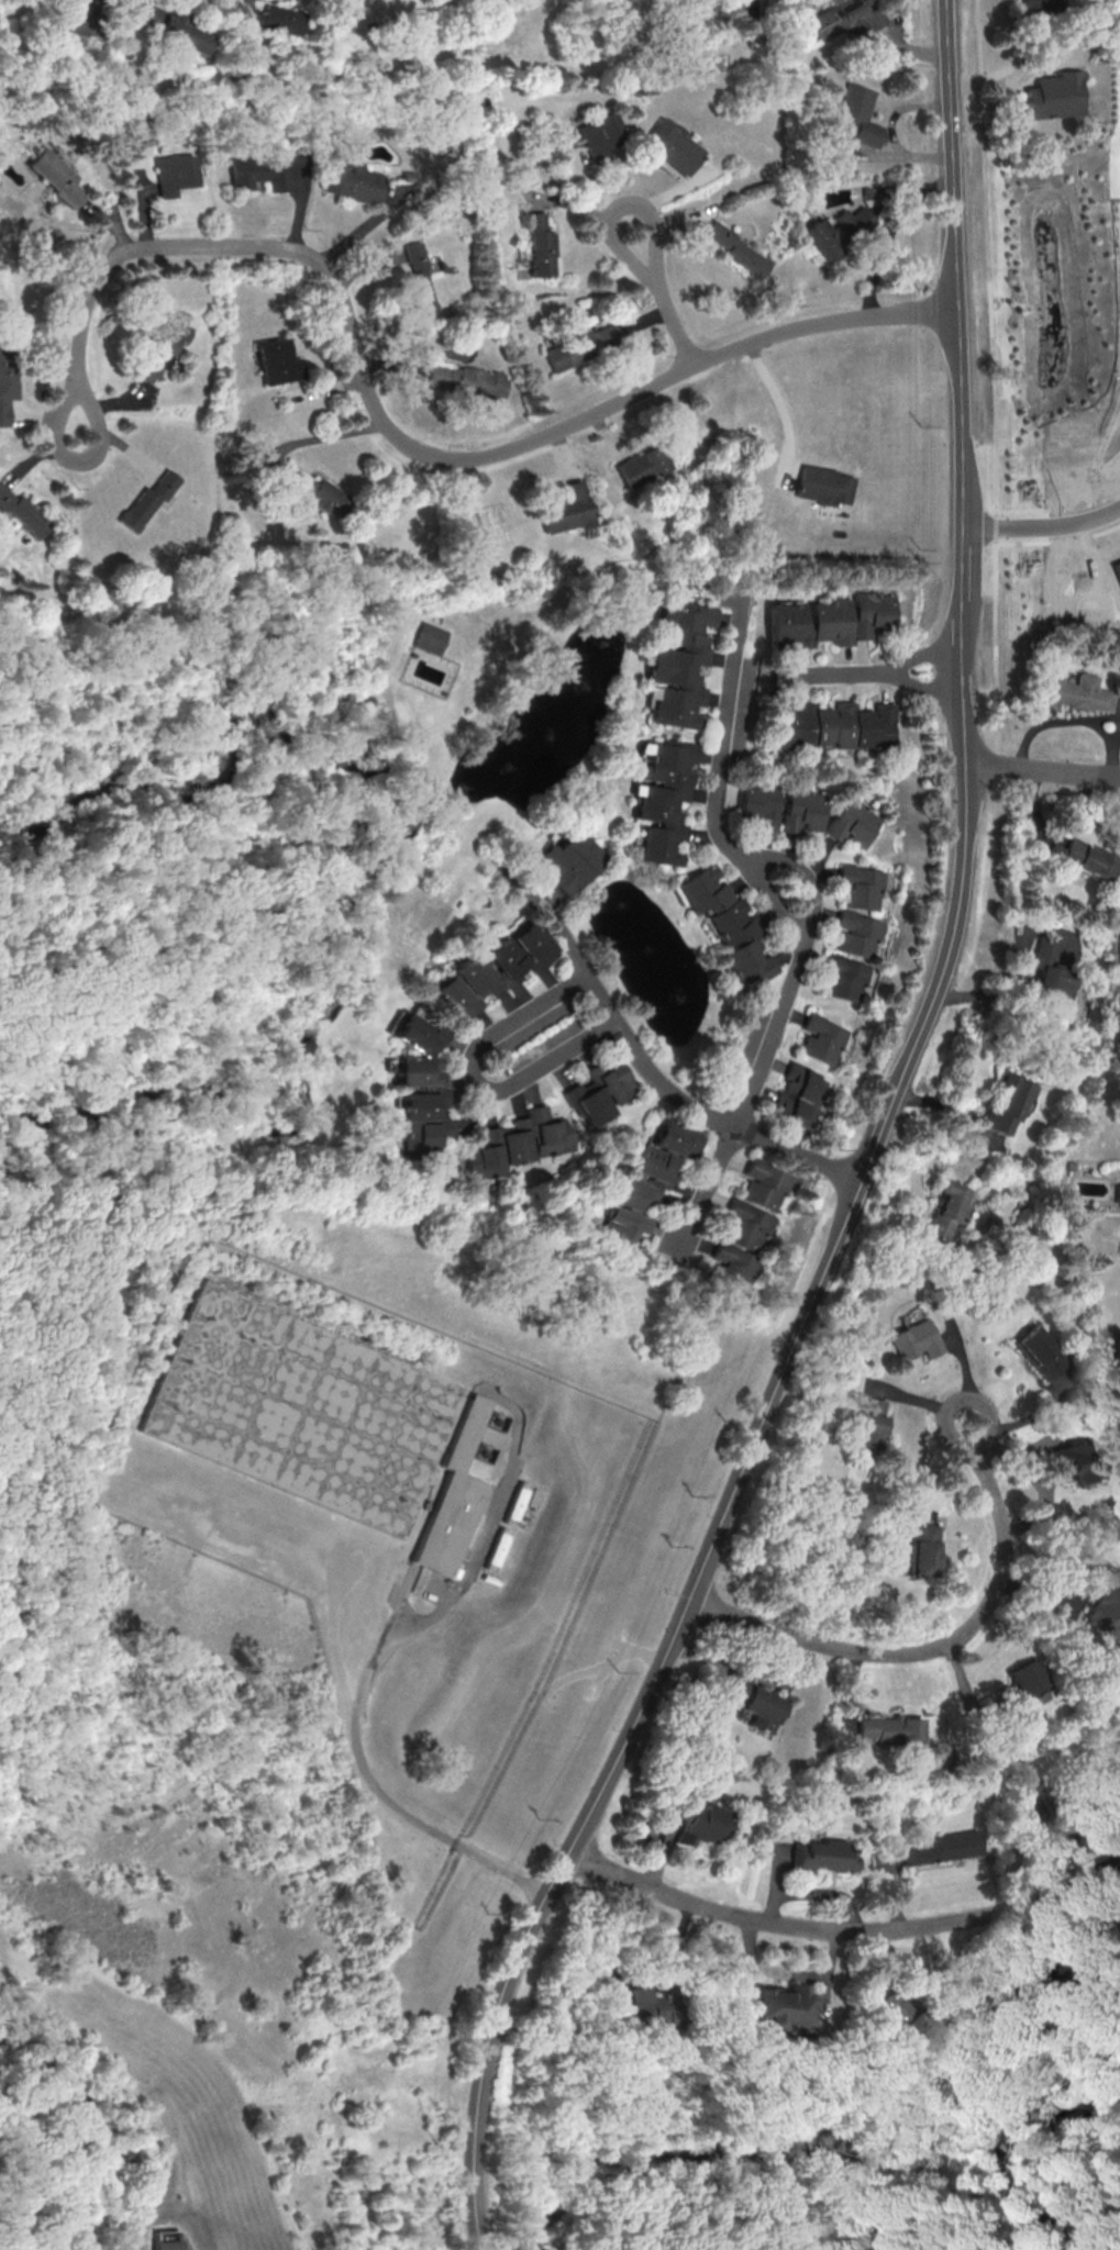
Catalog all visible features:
building: (1040, 3)
building: (269, 18)
building: (845, 19)
building: (69, 22)
building: (174, 29)
road: (1016, 64)
building: (1055, 94)
building: (857, 115)
building: (600, 134)
building: (675, 145)
building: (262, 171)
building: (176, 174)
building: (56, 177)
building: (355, 182)
building: (854, 222)
building: (823, 241)
building: (540, 246)
building: (740, 250)
building: (419, 279)
road: (665, 299)
building: (584, 345)
building: (160, 346)
building: (275, 361)
building: (467, 380)
building: (7, 383)
road: (780, 402)
road: (325, 435)
road: (400, 438)
building: (641, 466)
building: (824, 484)
building: (314, 492)
building: (146, 501)
building: (565, 508)
building: (23, 512)
road: (1042, 527)
building: (1119, 564)
building: (833, 620)
building: (428, 637)
road: (930, 656)
building: (679, 661)
road: (850, 675)
road: (931, 686)
building: (1075, 691)
building: (836, 725)
road: (1044, 771)
building: (663, 800)
building: (763, 804)
building: (808, 810)
building: (860, 823)
building: (1083, 858)
building: (569, 861)
river: (324, 866)
road: (800, 914)
building: (727, 924)
building: (860, 933)
building: (490, 970)
building: (1047, 976)
building: (415, 1034)
building: (823, 1038)
road: (643, 1066)
building: (417, 1070)
road: (472, 1077)
building: (597, 1093)
building: (798, 1098)
building: (1011, 1104)
building: (424, 1123)
building: (674, 1139)
building: (518, 1143)
road: (872, 1157)
building: (763, 1184)
building: (639, 1193)
building: (947, 1208)
building: (746, 1225)
building: (734, 1267)
building: (917, 1339)
building: (1040, 1351)
building: (195, 1367)
building: (872, 1427)
building: (1078, 1461)
building: (455, 1496)
building: (928, 1550)
building: (1105, 1595)
road: (335, 1597)
road: (939, 1649)
road: (382, 1658)
building: (1031, 1683)
building: (757, 1704)
building: (892, 1729)
building: (944, 1848)
building: (821, 1857)
road: (843, 1932)
road: (790, 1972)
road: (622, 1980)
building: (778, 2006)
building: (647, 2008)
building: (900, 2018)
river: (92, 2129)
river: (1008, 2150)
river: (732, 2152)
building: (166, 2245)

